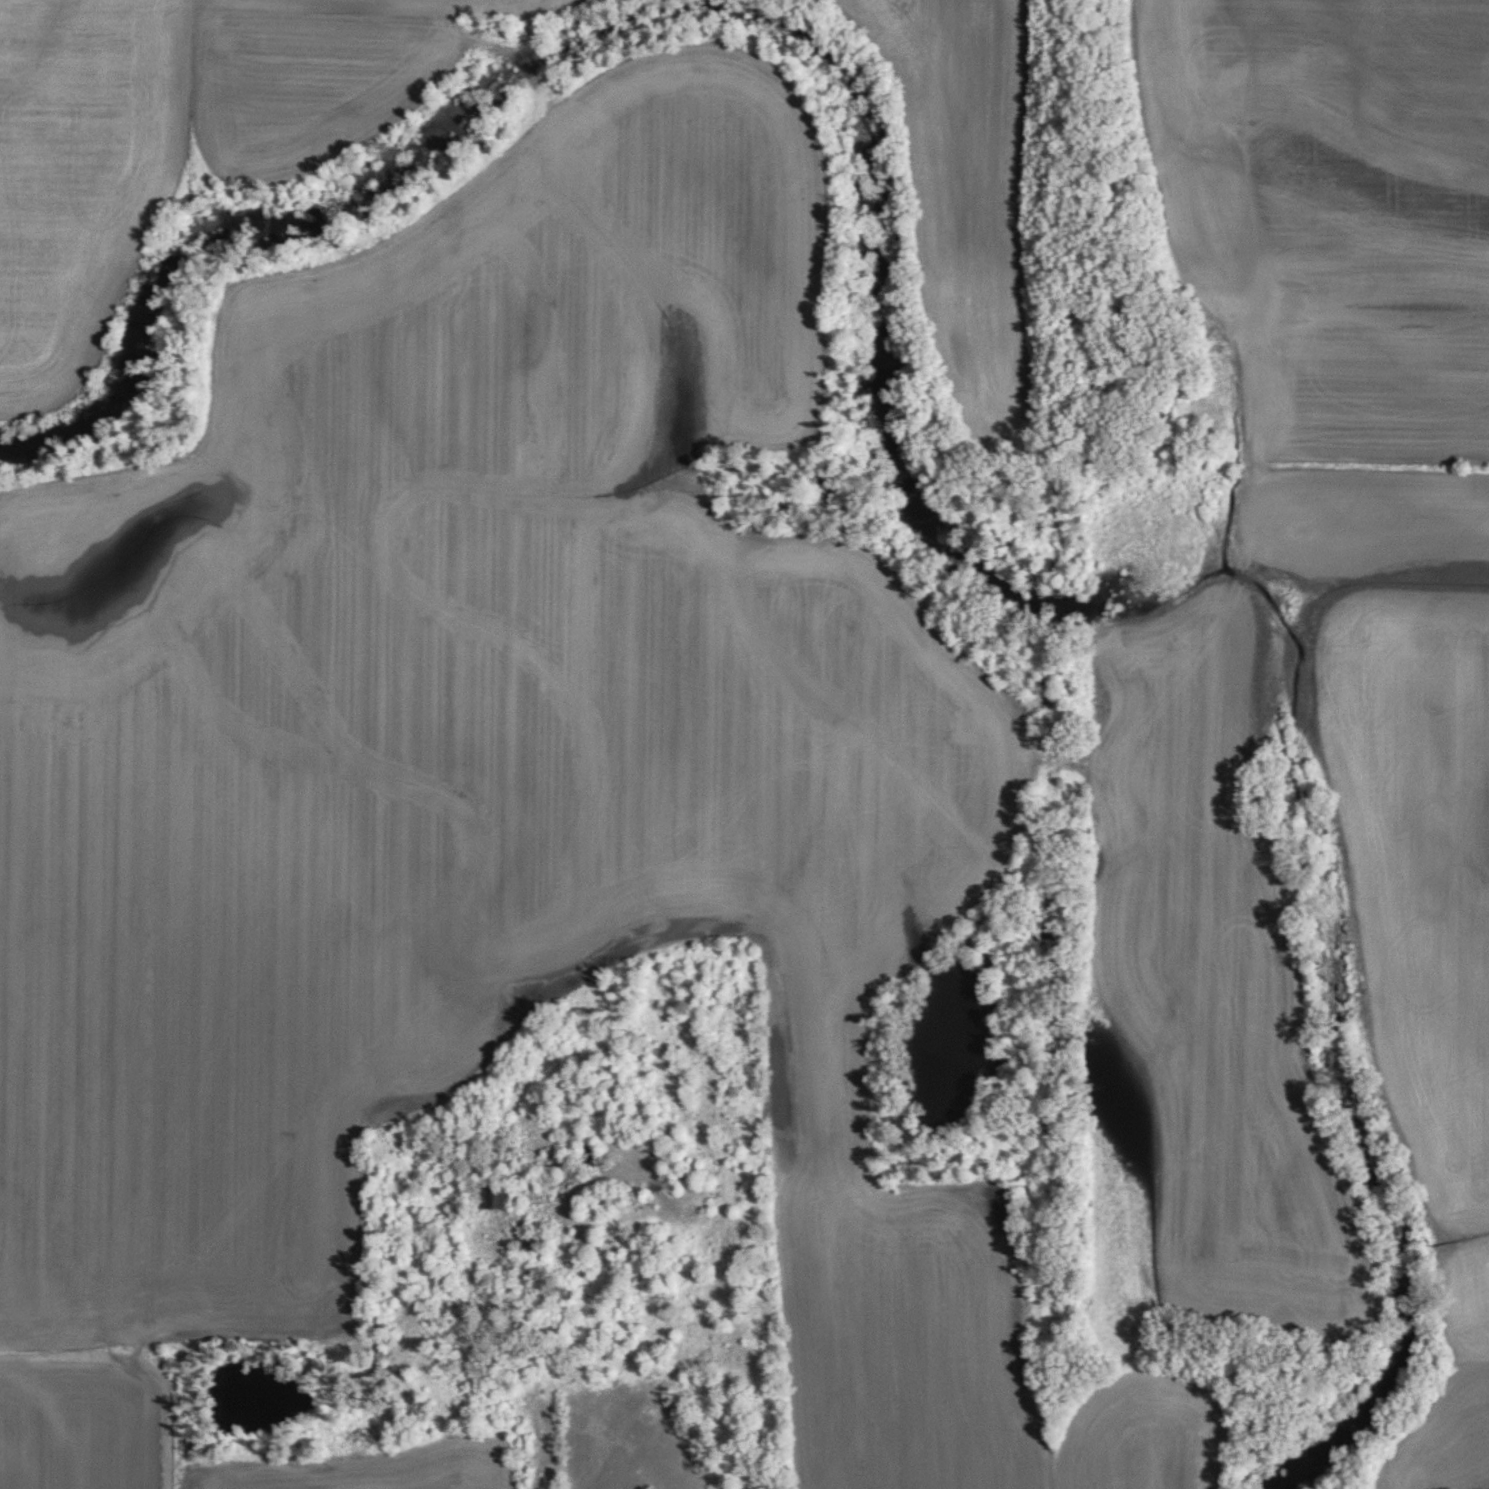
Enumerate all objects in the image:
building: (493, 1198)
road: (533, 1463)

